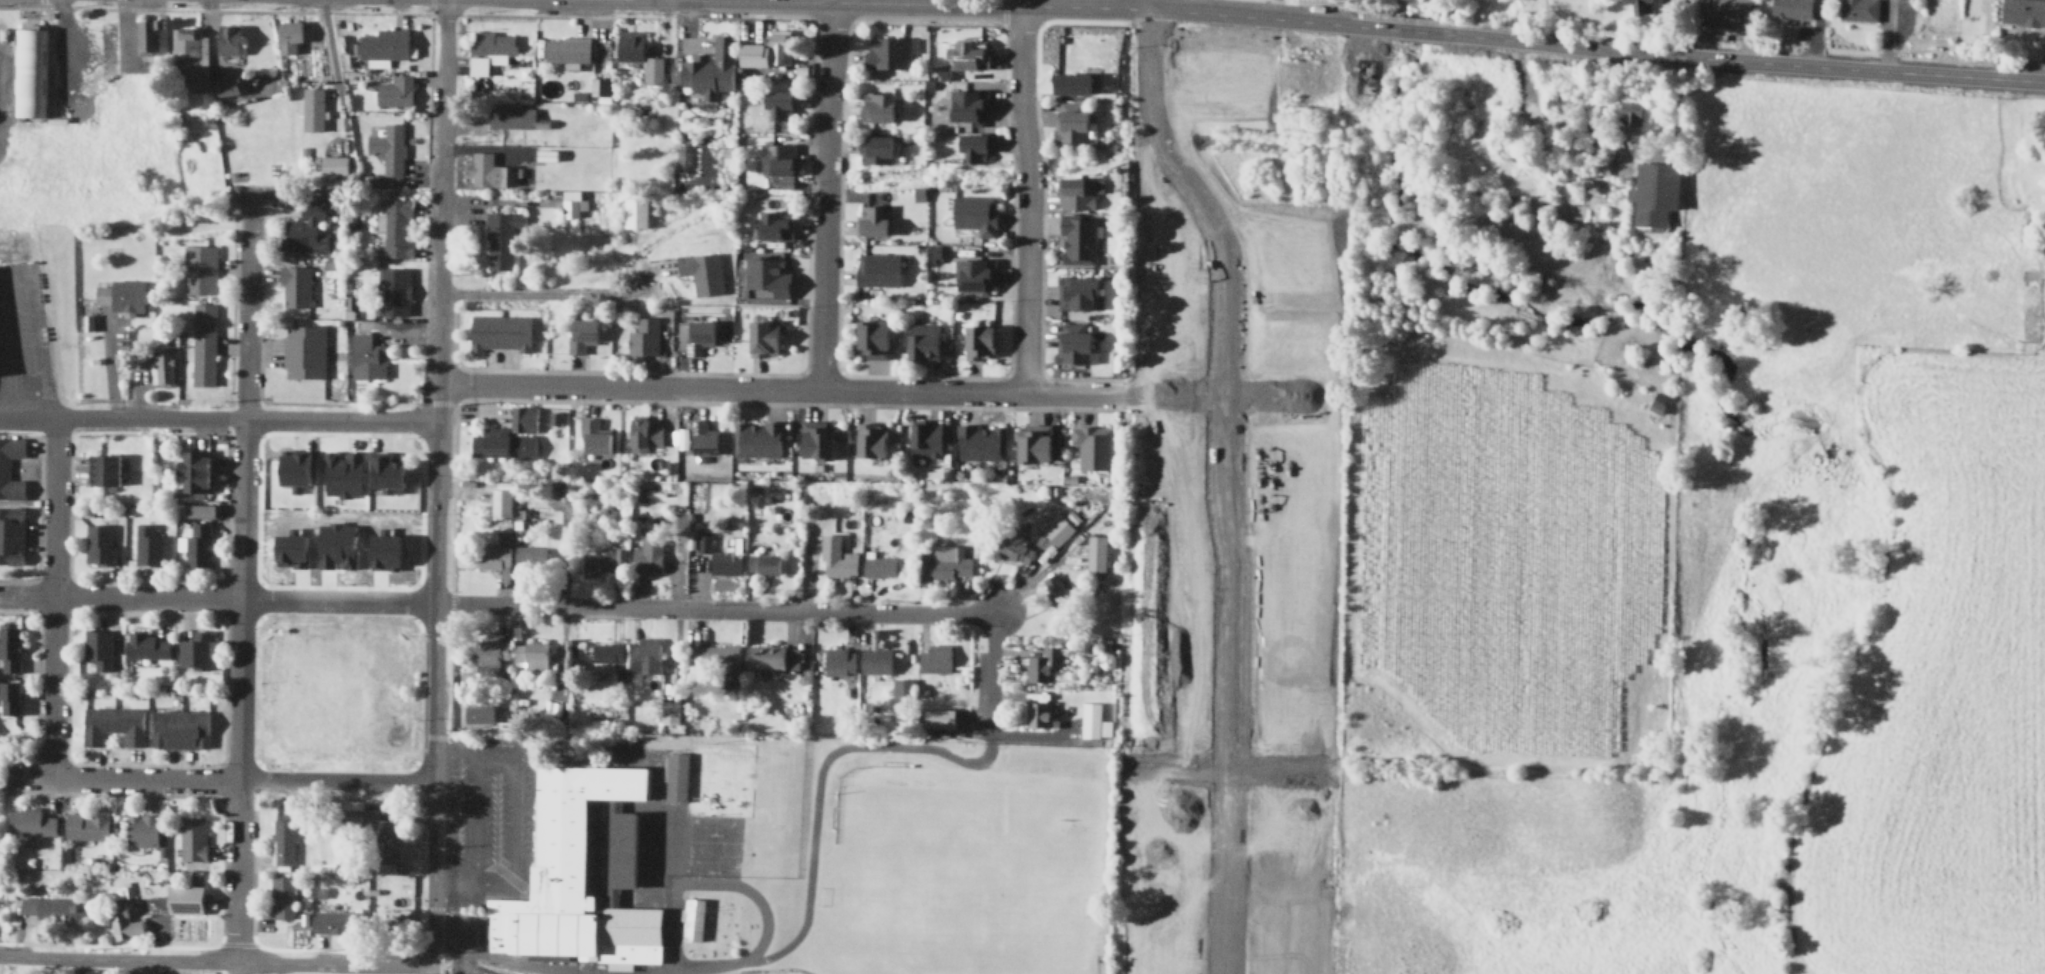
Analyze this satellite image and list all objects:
road: (833, 1)
road: (879, 2)
road: (1022, 2)
road: (1150, 4)
building: (1638, 5)
building: (1723, 6)
building: (1789, 7)
road: (1171, 9)
building: (1857, 9)
building: (2022, 11)
building: (144, 34)
building: (286, 34)
building: (225, 38)
building: (779, 42)
building: (627, 43)
building: (382, 45)
building: (564, 48)
building: (487, 49)
road: (333, 50)
building: (890, 52)
building: (750, 53)
building: (190, 54)
building: (973, 54)
road: (1682, 57)
building: (708, 67)
building: (651, 68)
building: (26, 71)
building: (1366, 77)
building: (1068, 81)
building: (224, 84)
building: (596, 84)
building: (393, 90)
building: (777, 101)
building: (971, 105)
building: (879, 106)
building: (310, 107)
road: (1534, 113)
building: (1626, 115)
building: (509, 116)
building: (1074, 122)
building: (387, 146)
building: (976, 147)
building: (879, 148)
road: (442, 150)
building: (684, 155)
building: (776, 157)
building: (331, 164)
building: (490, 170)
building: (1651, 191)
building: (1082, 192)
road: (824, 195)
road: (1028, 198)
building: (570, 201)
building: (632, 210)
building: (977, 212)
building: (874, 220)
building: (772, 223)
building: (306, 225)
building: (393, 226)
building: (499, 238)
building: (1078, 238)
building: (199, 267)
building: (879, 269)
building: (701, 270)
building: (978, 274)
building: (765, 276)
building: (294, 284)
building: (393, 290)
building: (1078, 292)
road: (544, 293)
building: (120, 294)
road: (248, 304)
building: (498, 331)
building: (579, 333)
building: (697, 334)
building: (642, 336)
building: (760, 337)
building: (874, 340)
building: (926, 342)
building: (981, 342)
building: (202, 343)
building: (1077, 343)
road: (27, 347)
building: (302, 350)
building: (365, 356)
building: (162, 364)
road: (438, 389)
road: (885, 391)
building: (1656, 400)
road: (219, 415)
building: (522, 417)
building: (642, 433)
building: (593, 435)
building: (705, 439)
building: (759, 439)
building: (873, 440)
building: (928, 440)
building: (819, 441)
building: (500, 442)
building: (981, 442)
building: (1034, 443)
building: (1093, 446)
building: (4, 466)
building: (290, 467)
building: (100, 468)
building: (192, 471)
building: (340, 472)
building: (383, 472)
road: (1221, 482)
building: (498, 500)
building: (197, 509)
crop: (1684, 526)
building: (1058, 530)
building: (10, 534)
building: (702, 540)
building: (98, 544)
building: (196, 544)
building: (334, 544)
building: (147, 545)
building: (288, 549)
building: (380, 550)
building: (1015, 551)
building: (646, 554)
building: (492, 555)
building: (529, 556)
building: (1098, 557)
building: (837, 559)
building: (600, 560)
building: (726, 563)
building: (765, 564)
building: (946, 564)
building: (880, 567)
road: (1035, 574)
building: (1055, 591)
road: (434, 594)
road: (53, 597)
road: (237, 597)
road: (118, 598)
road: (335, 601)
road: (710, 608)
building: (144, 644)
building: (97, 647)
building: (9, 648)
building: (196, 649)
building: (608, 653)
building: (646, 654)
building: (716, 656)
building: (489, 657)
building: (773, 657)
building: (532, 658)
building: (935, 660)
building: (839, 661)
building: (877, 661)
building: (1044, 665)
road: (987, 674)
building: (902, 688)
building: (8, 696)
building: (1039, 708)
building: (670, 713)
building: (482, 714)
building: (941, 717)
building: (1091, 720)
building: (112, 723)
building: (178, 727)
road: (1225, 770)
building: (676, 777)
road: (118, 778)
road: (333, 778)
building: (351, 808)
building: (1142, 813)
building: (1274, 819)
building: (28, 820)
road: (514, 820)
building: (1179, 820)
road: (475, 823)
parking lot: (486, 824)
building: (85, 825)
building: (139, 829)
road: (813, 833)
park: (903, 834)
building: (191, 838)
road: (432, 838)
building: (384, 839)
building: (281, 840)
building: (381, 866)
road: (237, 869)
building: (1177, 873)
building: (581, 875)
building: (1283, 879)
building: (280, 896)
building: (181, 898)
park: (1025, 906)
building: (47, 907)
building: (694, 919)
building: (120, 920)
building: (335, 920)
building: (1168, 924)
building: (1282, 925)
road: (448, 937)
road: (515, 959)
road: (215, 961)
building: (1163, 964)
building: (1282, 964)
road: (235, 968)
road: (431, 970)
road: (747, 970)

